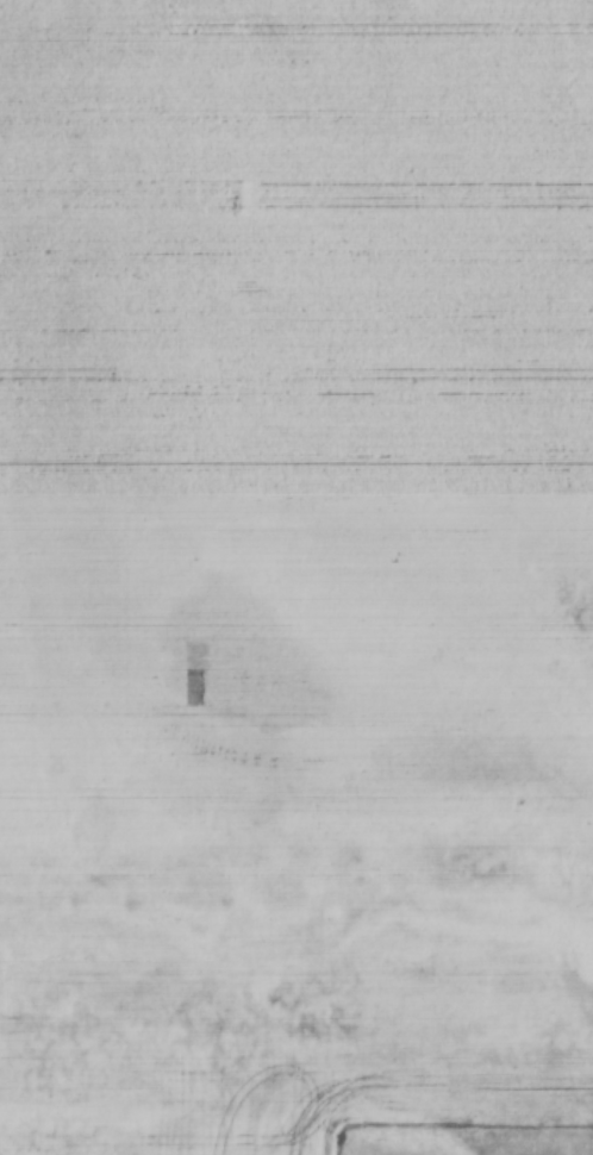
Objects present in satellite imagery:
crop: (294, 569)

